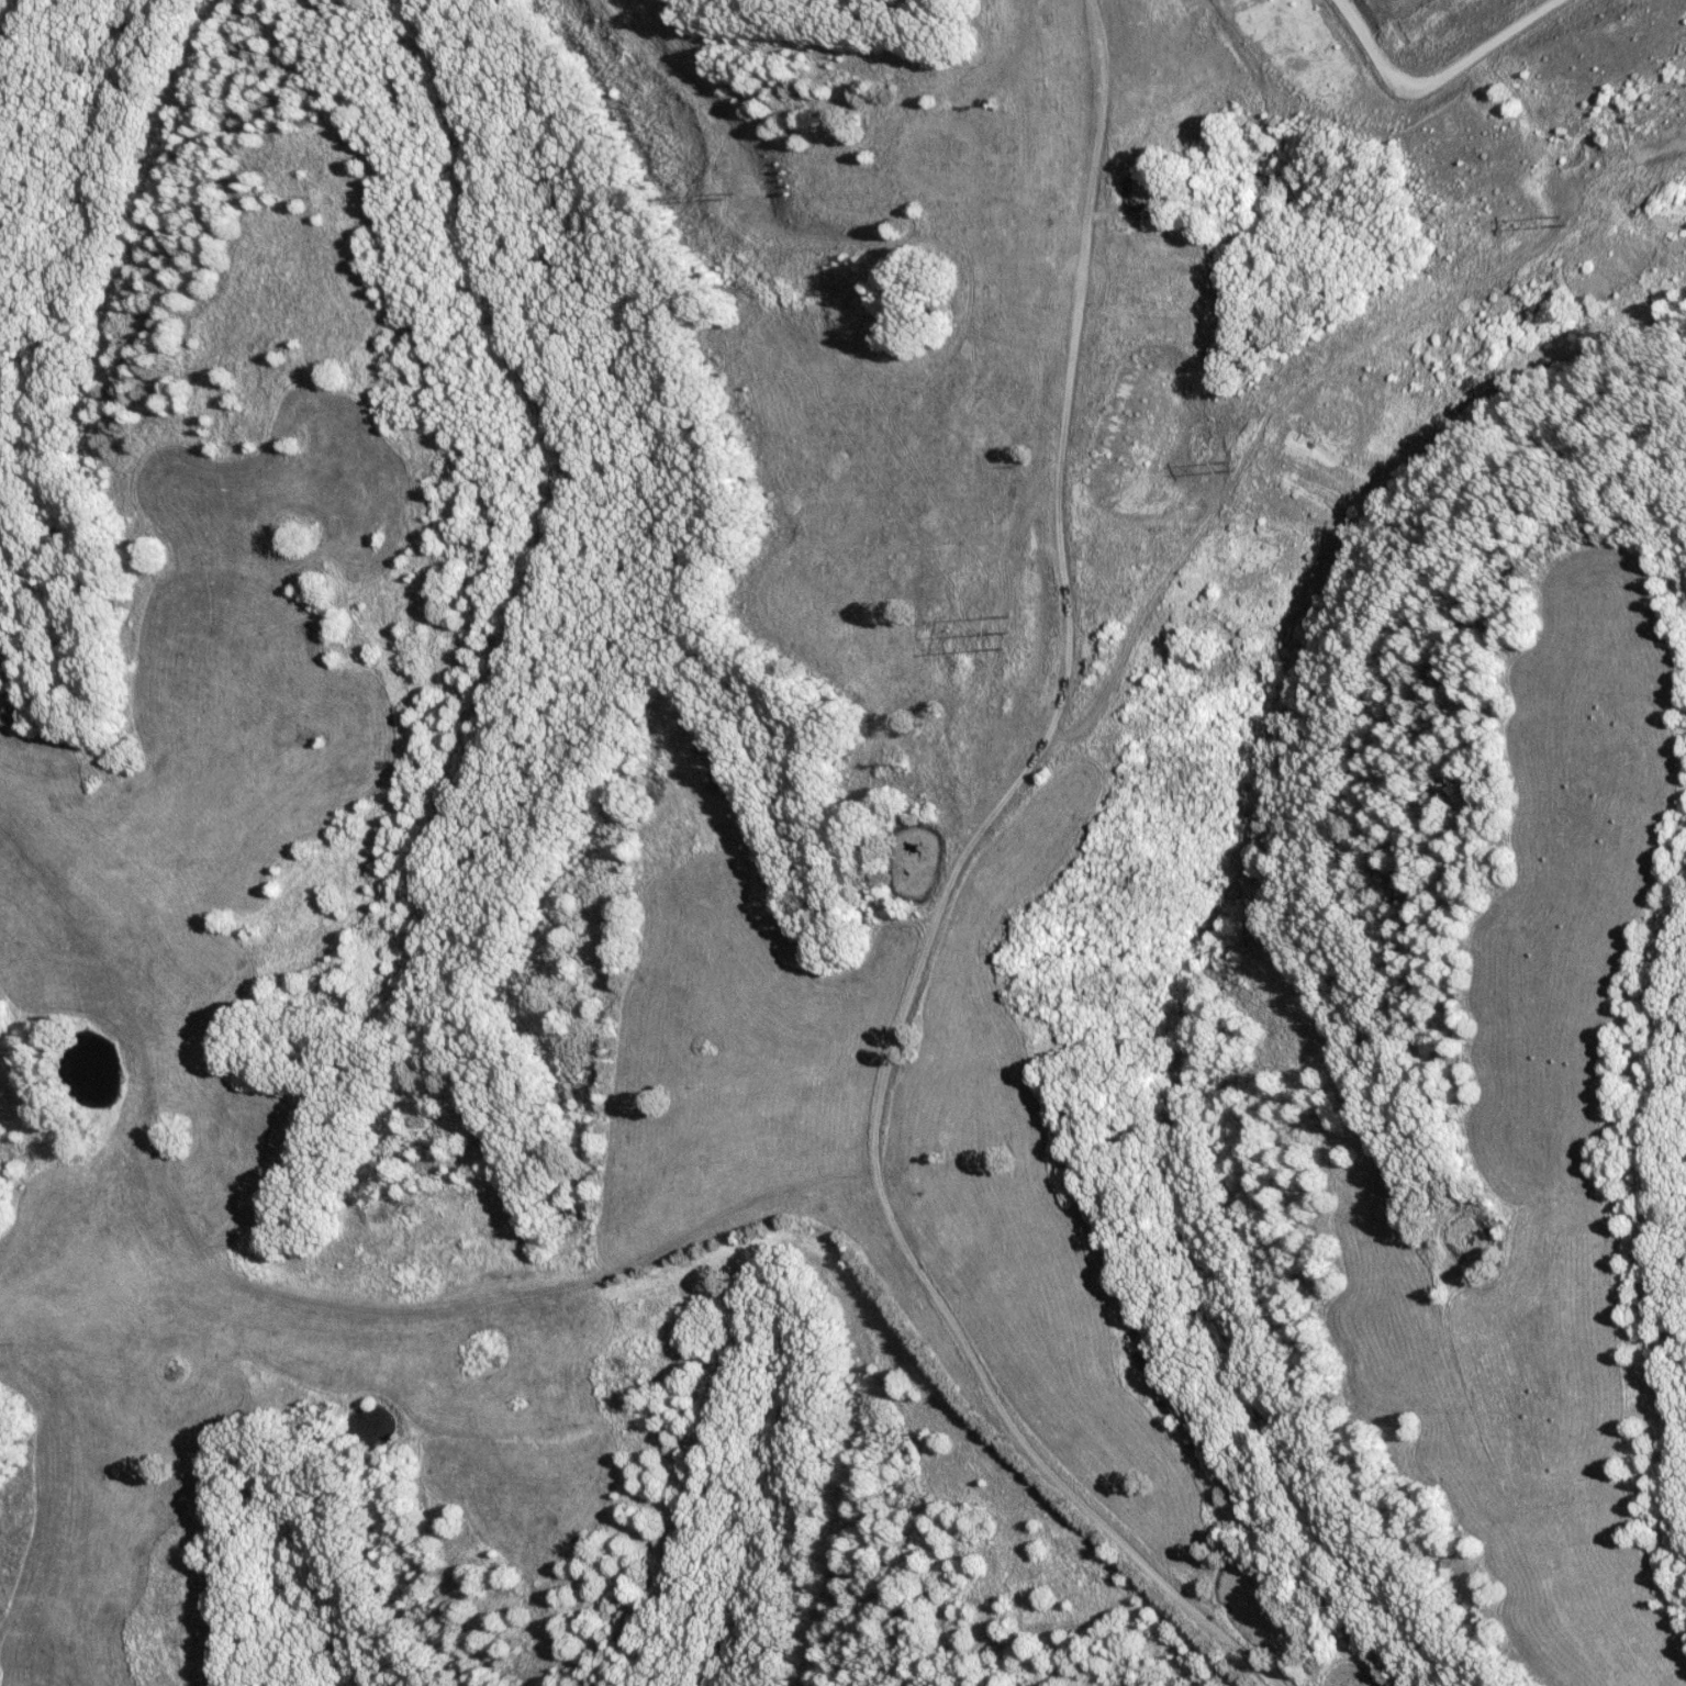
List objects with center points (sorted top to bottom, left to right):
road: (1430, 79)
power tower: (740, 199)
power tower: (1563, 223)
airport: (1194, 248)
power tower: (1233, 468)
power tower: (1004, 633)

